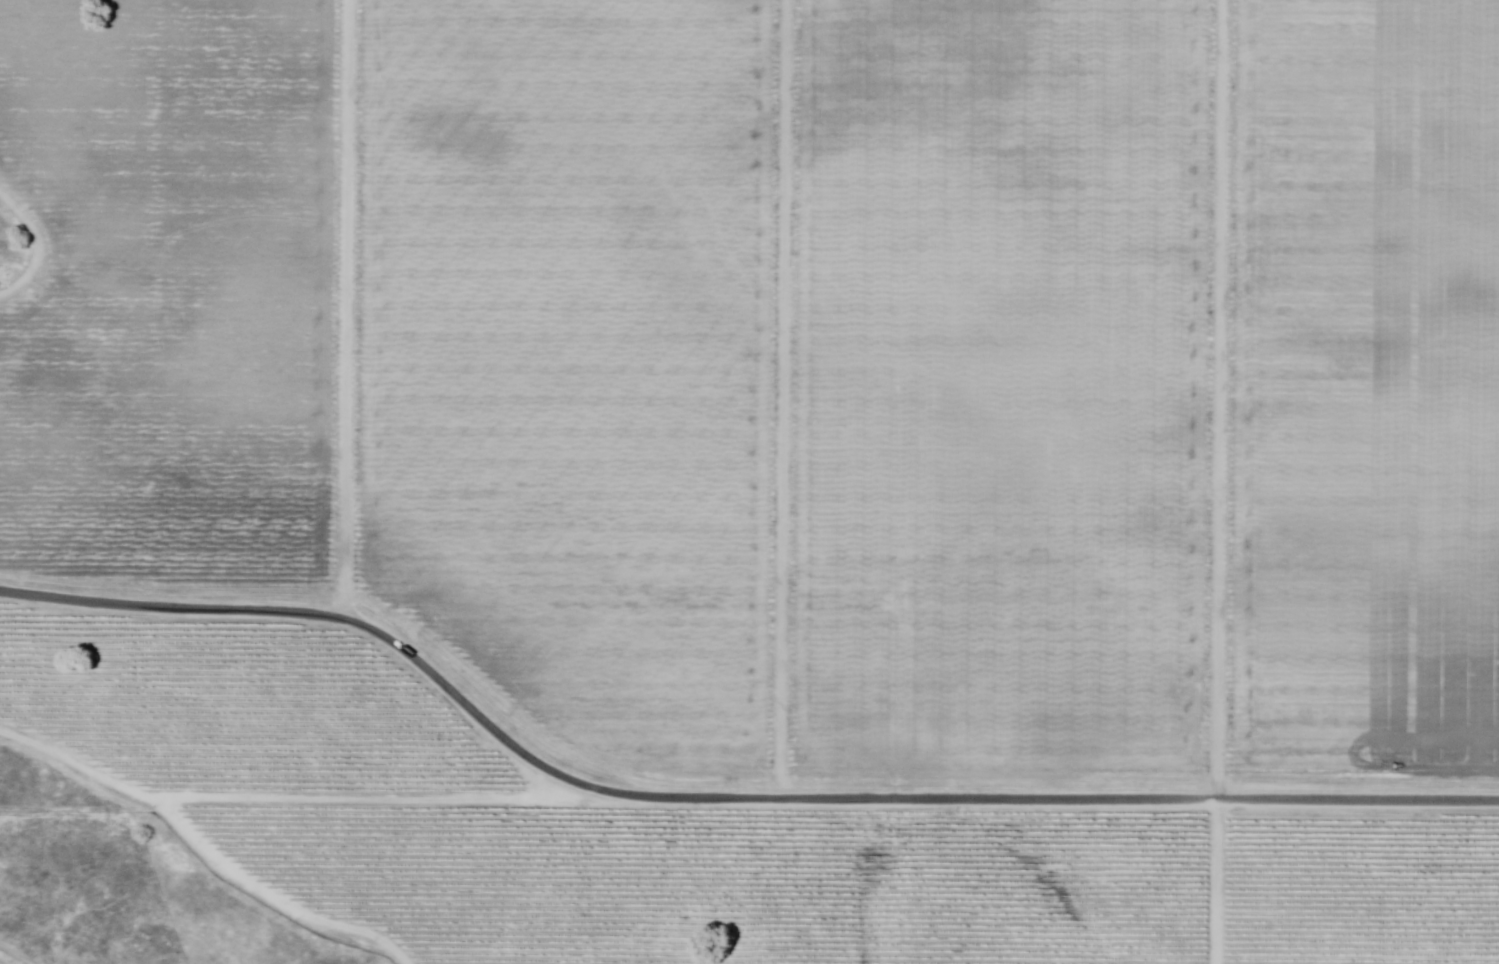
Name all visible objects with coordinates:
road: (40, 248)
road: (348, 307)
road: (784, 399)
road: (1218, 481)
road: (372, 798)
road: (717, 798)
road: (202, 851)
road: (14, 954)

